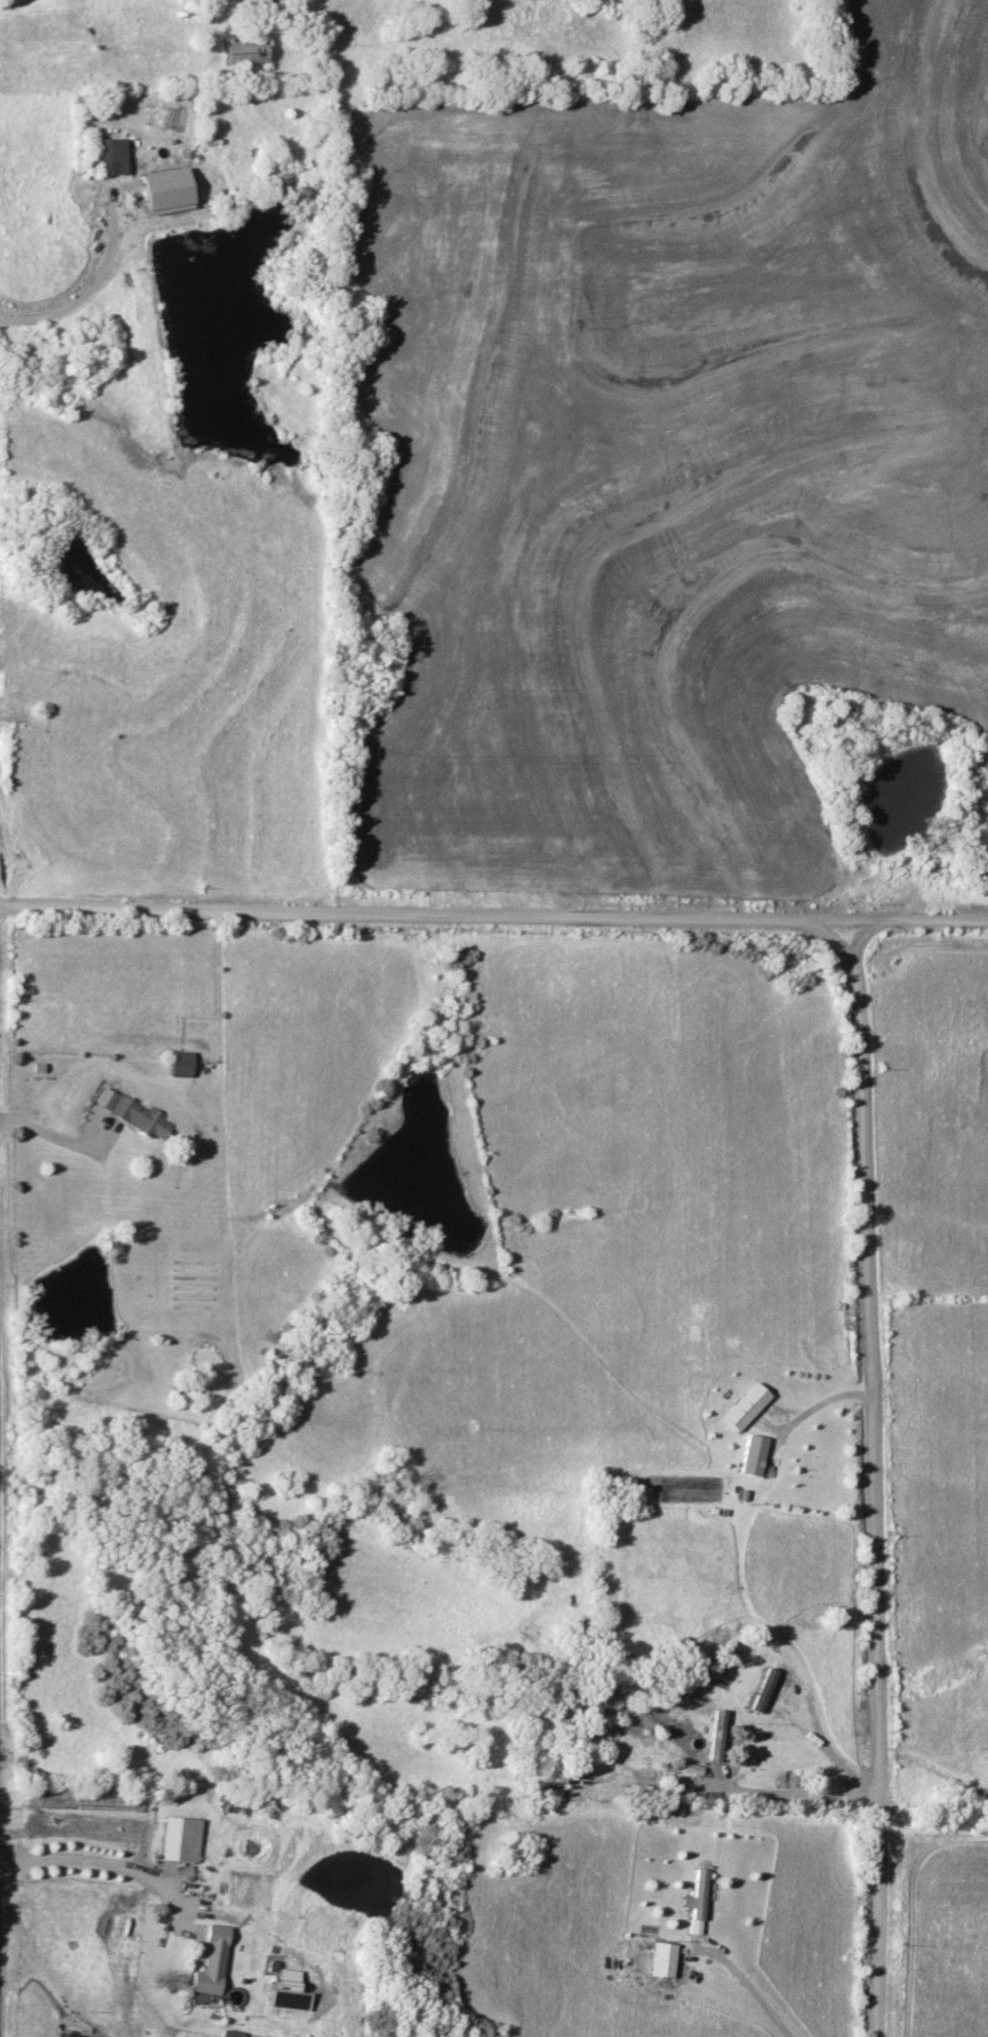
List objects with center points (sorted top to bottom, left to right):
building: (243, 53)
building: (111, 157)
road: (78, 299)
road: (494, 916)
building: (182, 1064)
building: (141, 1117)
road: (65, 1139)
building: (740, 1413)
road: (801, 1420)
building: (753, 1456)
road: (879, 1479)
building: (623, 1611)
building: (764, 1691)
road: (825, 1747)
road: (791, 1794)
building: (179, 1840)
road: (114, 1866)
building: (698, 1895)
building: (693, 1930)
building: (662, 1960)
building: (211, 1962)
road: (752, 1989)
building: (233, 2034)

